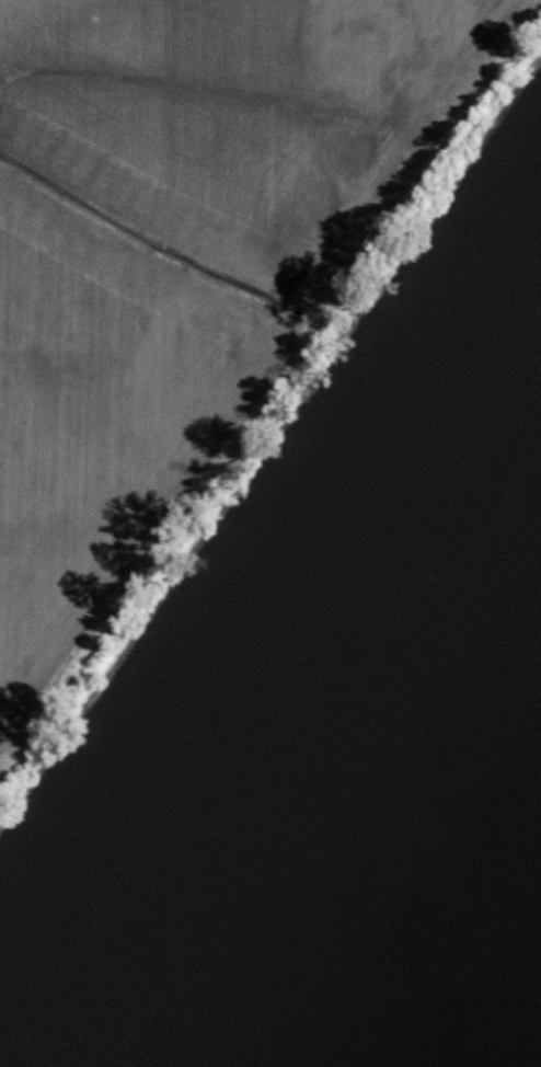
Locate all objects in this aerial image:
river: (434, 965)

